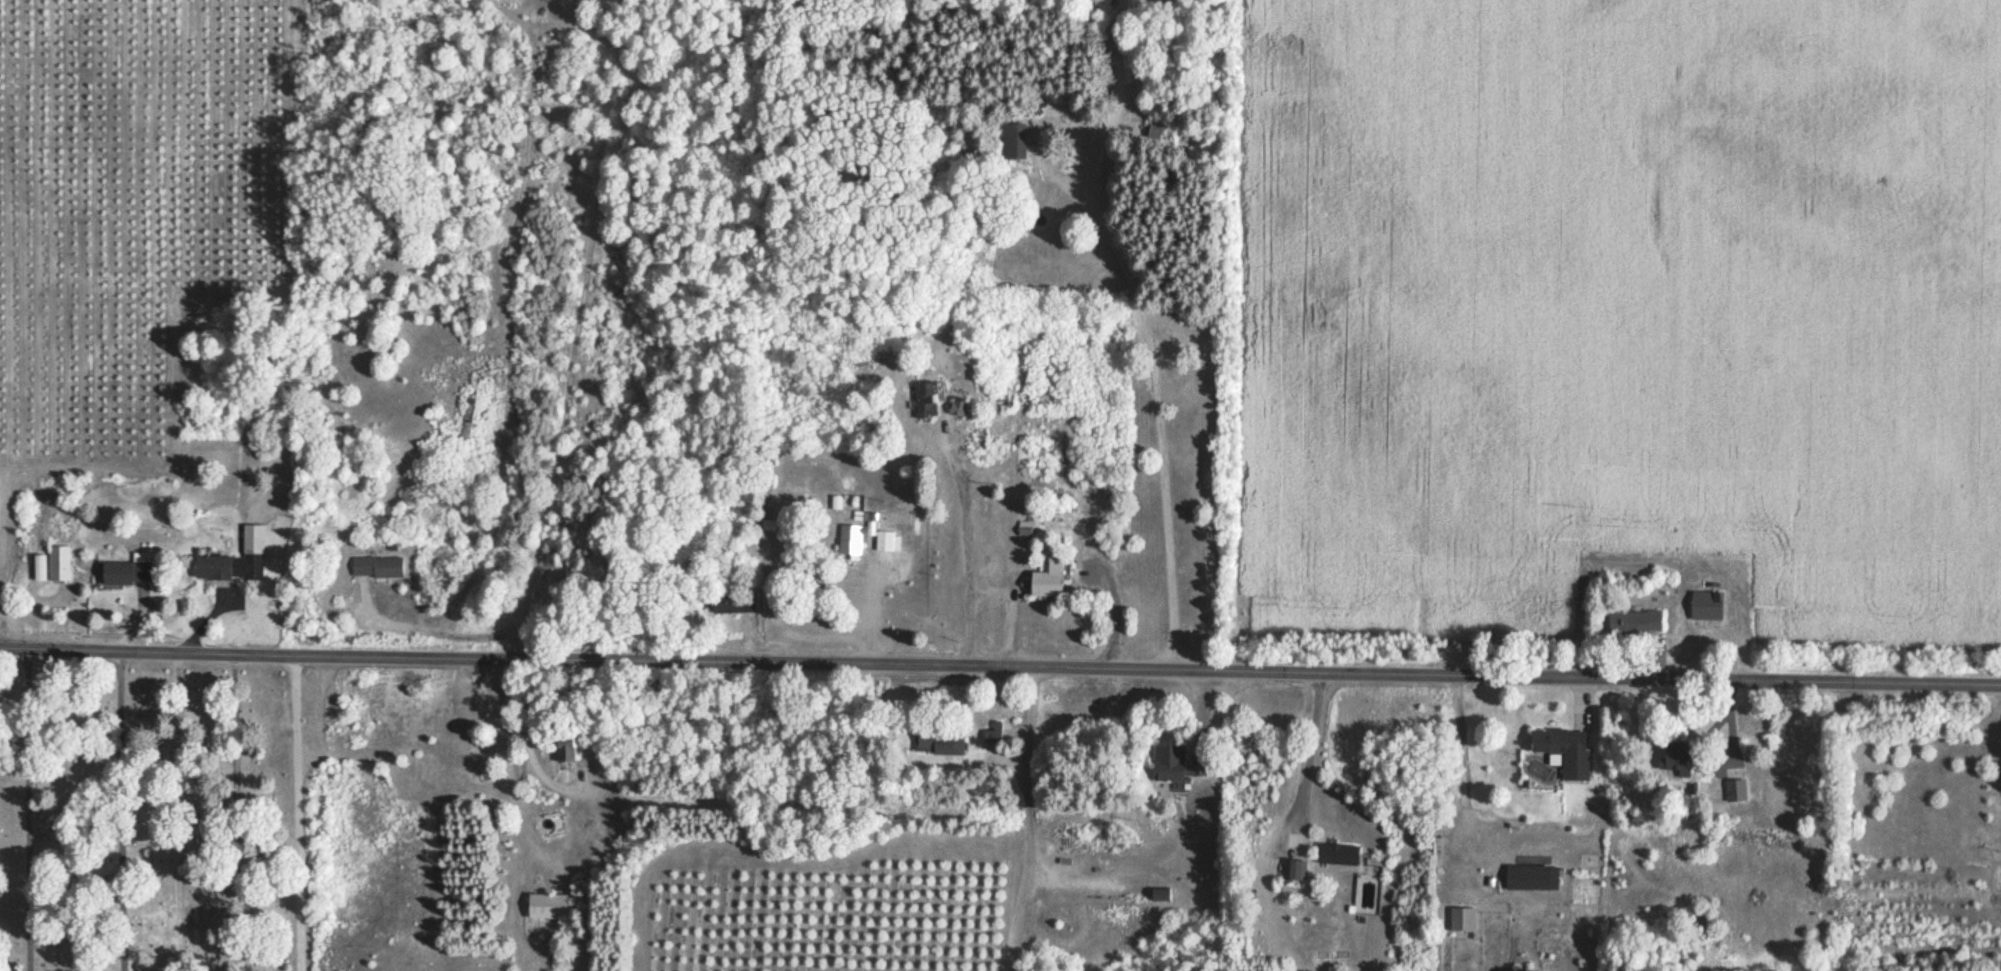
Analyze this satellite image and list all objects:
building: (1013, 143)
building: (1001, 324)
building: (923, 399)
building: (954, 409)
building: (465, 422)
building: (848, 542)
building: (254, 553)
building: (52, 567)
building: (374, 570)
building: (217, 571)
building: (127, 575)
building: (1041, 583)
building: (1703, 608)
building: (1631, 624)
road: (1000, 667)
building: (992, 734)
building: (935, 746)
building: (563, 748)
building: (1560, 752)
building: (1673, 763)
building: (1168, 767)
building: (1733, 793)
park: (152, 819)
building: (1335, 857)
building: (1292, 872)
building: (1529, 879)
building: (1157, 897)
building: (546, 909)

